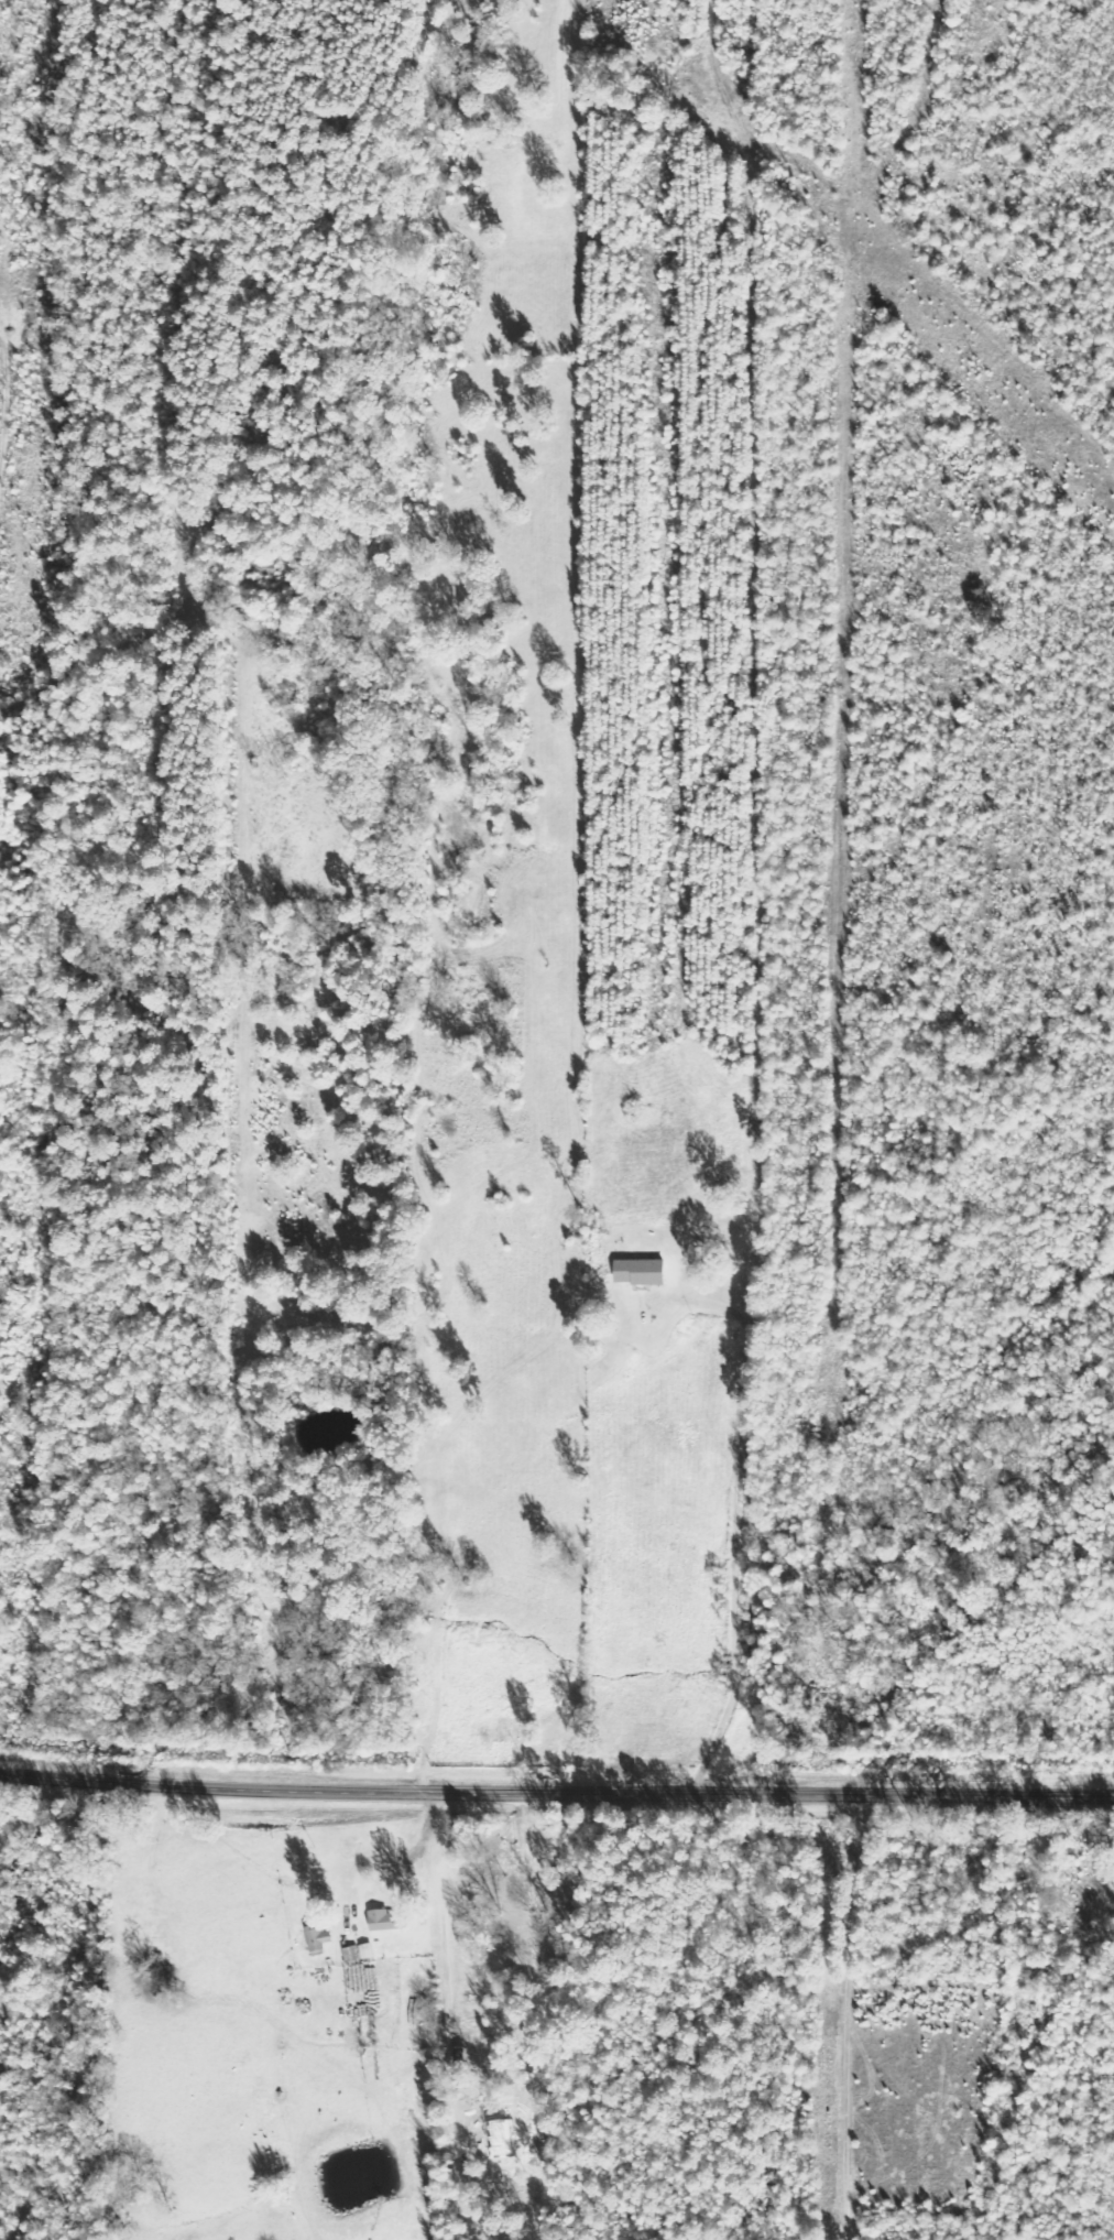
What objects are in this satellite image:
road: (136, 621)
road: (123, 990)
building: (637, 1273)
road: (736, 1520)
road: (556, 1795)
building: (391, 1921)
building: (321, 1939)
building: (365, 1953)

